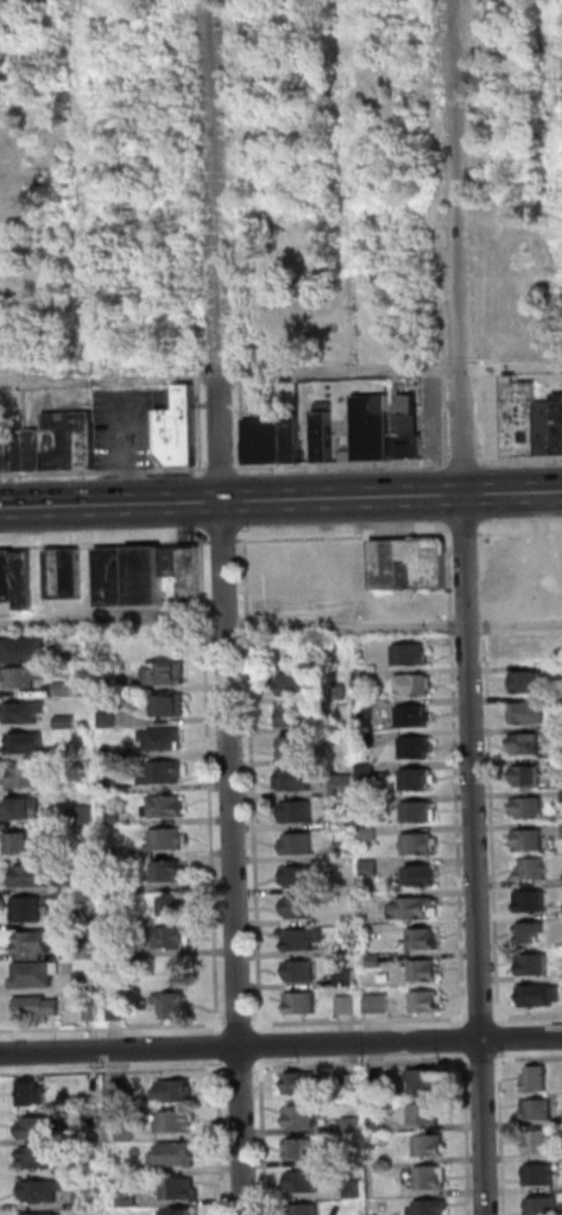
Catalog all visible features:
building: (4, 77)
building: (261, 146)
road: (432, 182)
road: (471, 232)
road: (280, 374)
road: (447, 411)
building: (520, 419)
road: (245, 422)
parking lot: (127, 429)
building: (182, 429)
building: (373, 430)
building: (409, 430)
building: (327, 432)
building: (293, 437)
building: (267, 441)
building: (72, 442)
building: (7, 450)
road: (131, 450)
building: (24, 451)
building: (40, 451)
road: (520, 460)
road: (467, 461)
road: (346, 464)
road: (225, 469)
road: (106, 472)
road: (280, 500)
road: (522, 532)
road: (468, 533)
road: (348, 537)
road: (227, 542)
road: (106, 544)
building: (522, 559)
building: (173, 562)
building: (411, 562)
building: (192, 571)
building: (58, 574)
building: (75, 574)
building: (11, 575)
building: (150, 575)
building: (1, 576)
building: (116, 576)
building: (26, 580)
road: (231, 607)
road: (469, 607)
road: (115, 621)
road: (396, 626)
building: (27, 647)
building: (526, 648)
building: (83, 651)
building: (412, 654)
building: (170, 672)
building: (25, 676)
building: (368, 678)
building: (530, 682)
building: (109, 683)
building: (297, 683)
building: (415, 683)
building: (67, 689)
building: (340, 691)
building: (171, 704)
building: (368, 709)
building: (25, 711)
building: (531, 713)
building: (299, 715)
building: (415, 716)
building: (109, 717)
building: (69, 722)
building: (558, 733)
building: (165, 736)
building: (368, 739)
building: (26, 742)
building: (528, 743)
building: (298, 747)
building: (418, 747)
building: (69, 751)
building: (115, 752)
building: (368, 771)
building: (164, 772)
building: (528, 776)
building: (29, 777)
building: (419, 778)
road: (459, 778)
road: (493, 778)
building: (298, 779)
building: (345, 784)
building: (112, 786)
road: (255, 786)
road: (213, 787)
building: (169, 805)
building: (25, 808)
building: (531, 808)
building: (297, 811)
building: (421, 811)
building: (88, 815)
building: (114, 816)
building: (343, 818)
building: (371, 833)
building: (170, 839)
building: (531, 839)
building: (29, 840)
building: (421, 842)
building: (299, 843)
building: (345, 850)
building: (52, 854)
building: (373, 867)
building: (533, 868)
building: (170, 871)
building: (423, 875)
building: (33, 877)
building: (301, 877)
building: (115, 884)
building: (75, 885)
building: (373, 900)
building: (533, 900)
building: (175, 904)
building: (299, 907)
building: (417, 907)
building: (31, 910)
building: (78, 918)
building: (132, 918)
building: (530, 931)
building: (173, 937)
building: (305, 938)
building: (425, 938)
building: (38, 941)
building: (84, 949)
building: (132, 953)
building: (375, 961)
building: (536, 963)
building: (427, 969)
building: (301, 970)
building: (38, 973)
building: (348, 976)
building: (87, 980)
building: (539, 995)
building: (304, 1001)
building: (428, 1001)
building: (380, 1002)
building: (176, 1004)
building: (348, 1004)
building: (39, 1006)
building: (119, 1011)
building: (94, 1012)
road: (529, 1015)
road: (482, 1017)
road: (362, 1020)
road: (242, 1024)
road: (115, 1027)
road: (467, 1038)
road: (501, 1038)
road: (280, 1044)
road: (264, 1045)
road: (221, 1046)
road: (530, 1058)
road: (484, 1059)
road: (364, 1062)
road: (242, 1067)
road: (114, 1071)
building: (380, 1078)
building: (428, 1078)
building: (538, 1078)
building: (302, 1082)
building: (353, 1083)
building: (125, 1090)
building: (176, 1090)
building: (34, 1093)
building: (541, 1109)
building: (428, 1114)
building: (303, 1116)
building: (178, 1120)
building: (381, 1122)
building: (355, 1124)
building: (42, 1126)
building: (128, 1132)
road: (469, 1133)
road: (504, 1133)
road: (225, 1137)
road: (266, 1137)
building: (542, 1141)
building: (432, 1145)
building: (302, 1147)
building: (176, 1153)
building: (44, 1157)
building: (354, 1158)
building: (130, 1166)
building: (97, 1169)
building: (542, 1175)
building: (434, 1177)
building: (305, 1181)
building: (182, 1188)
building: (356, 1188)
building: (43, 1190)
building: (89, 1197)
building: (132, 1197)
building: (545, 1205)
building: (434, 1207)
building: (309, 1209)
building: (181, 1211)
building: (43, 1214)

